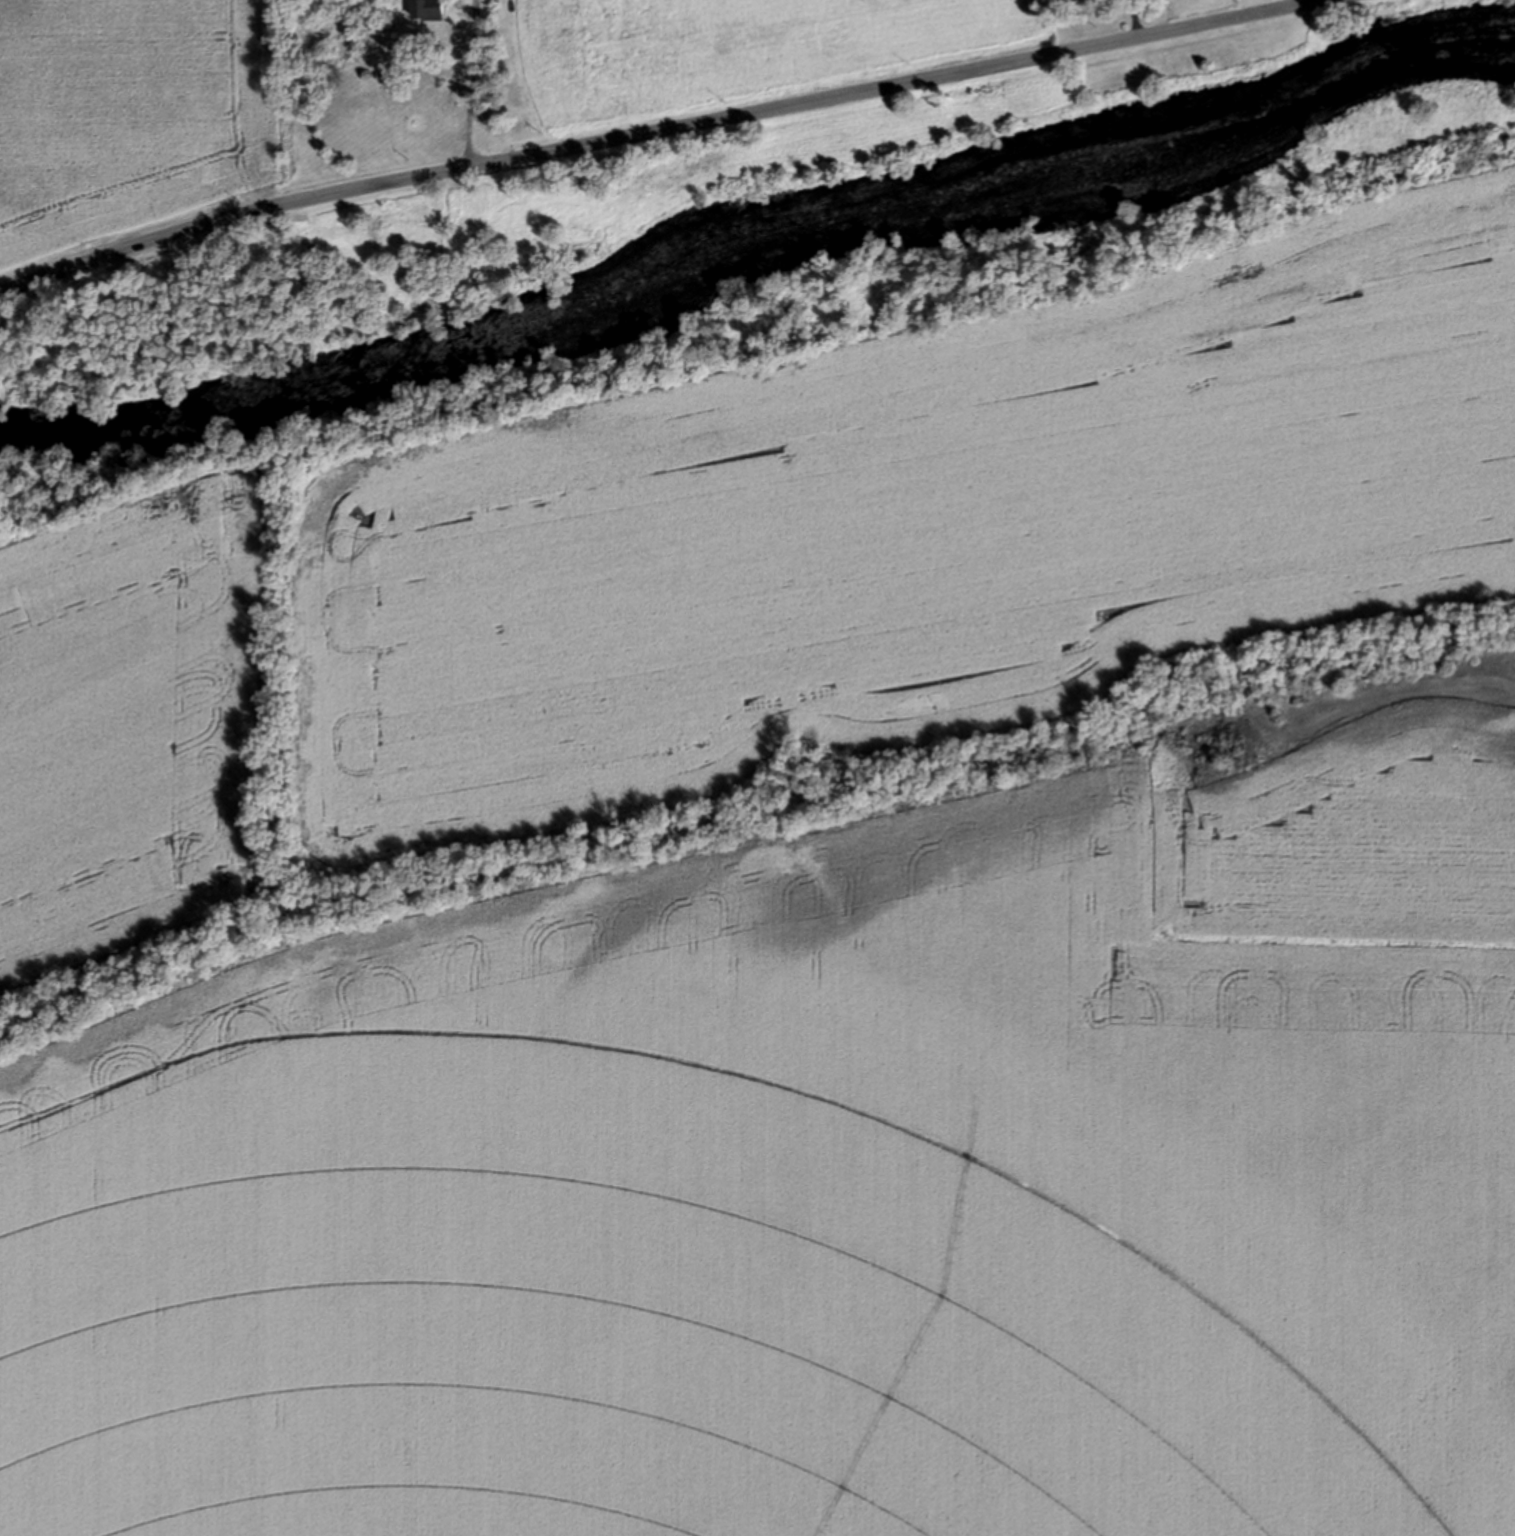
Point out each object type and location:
building: (429, 9)
road: (1135, 21)
road: (471, 86)
road: (677, 133)
river: (756, 243)

